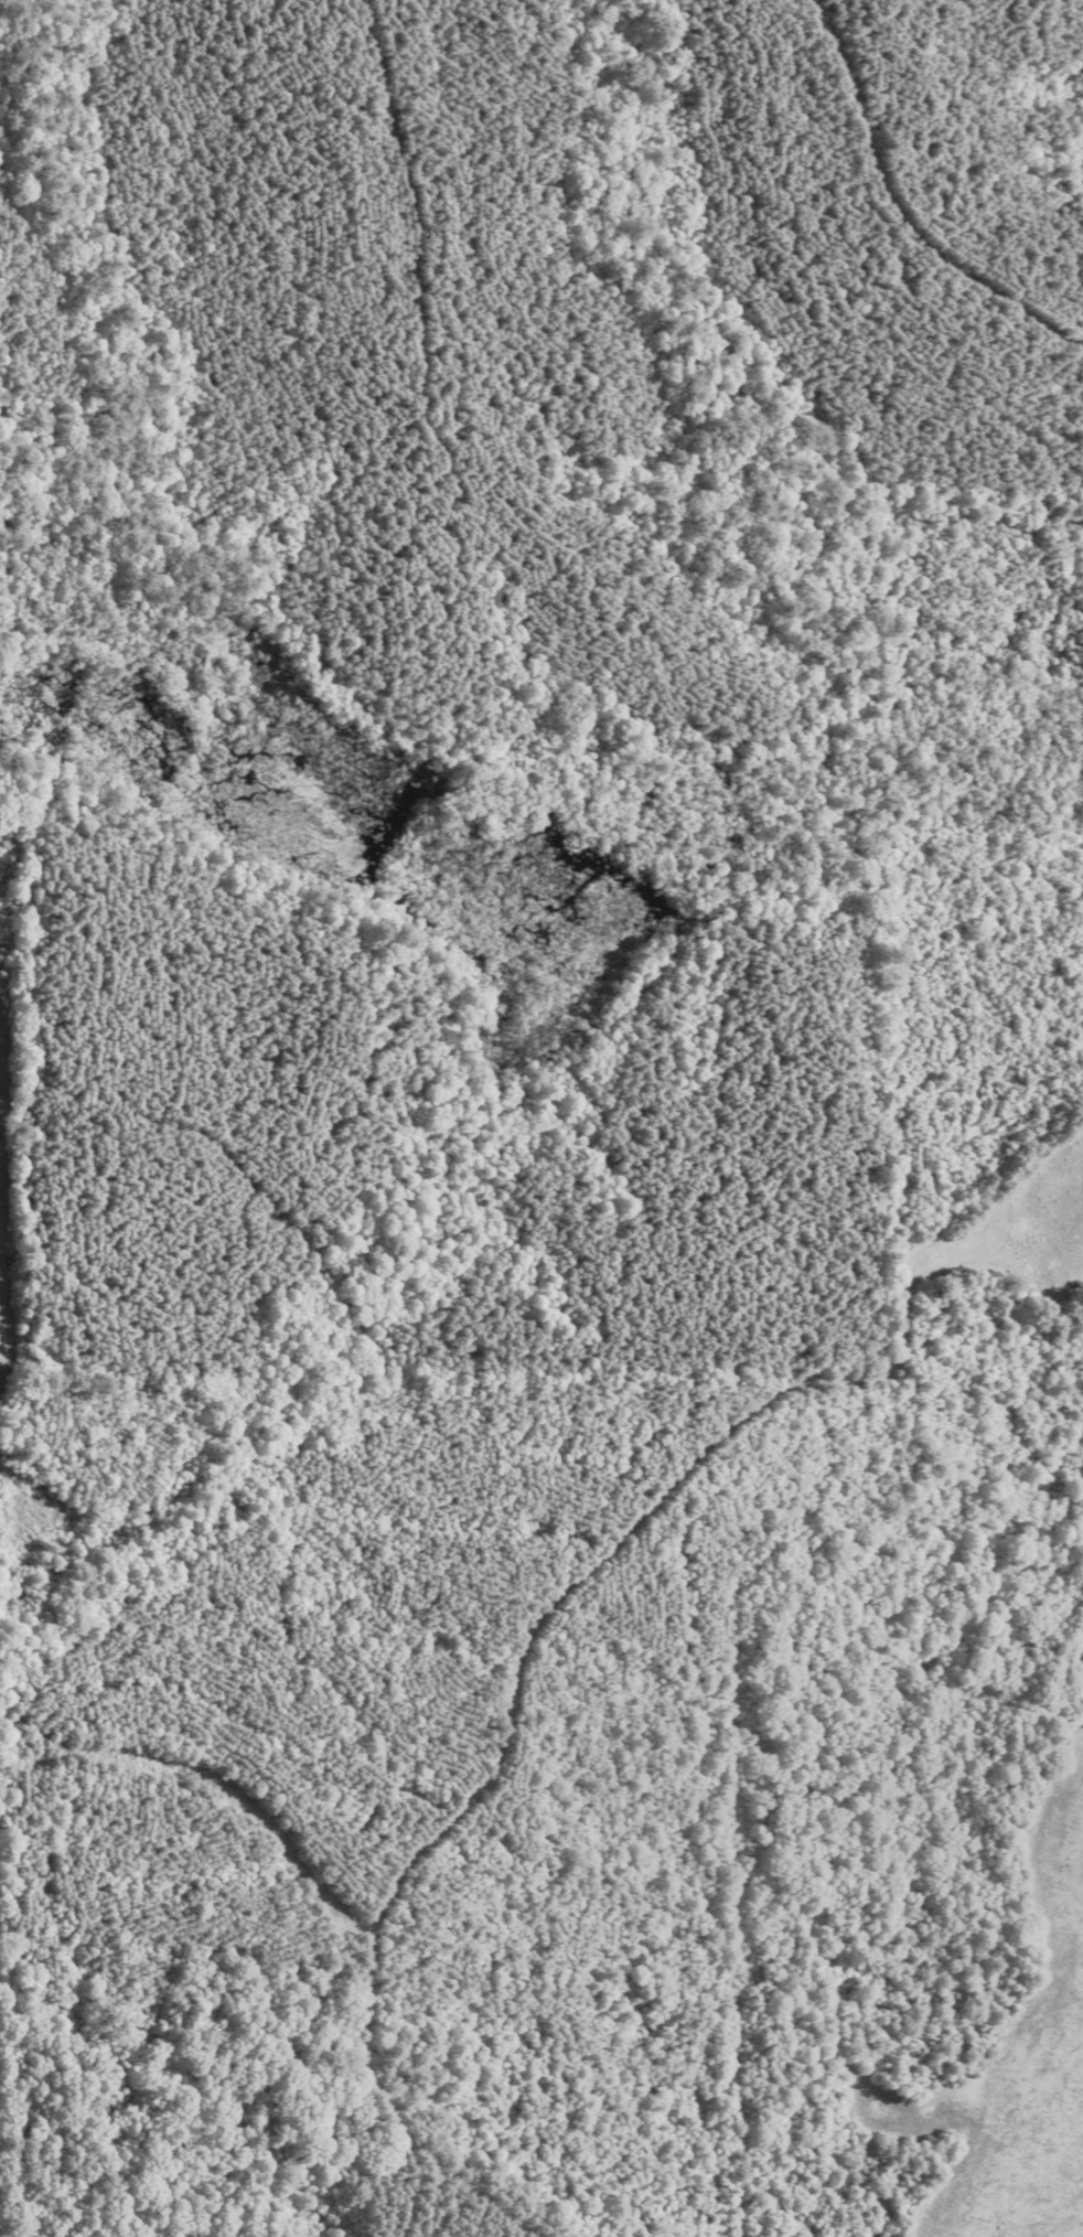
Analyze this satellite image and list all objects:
road: (872, 226)

